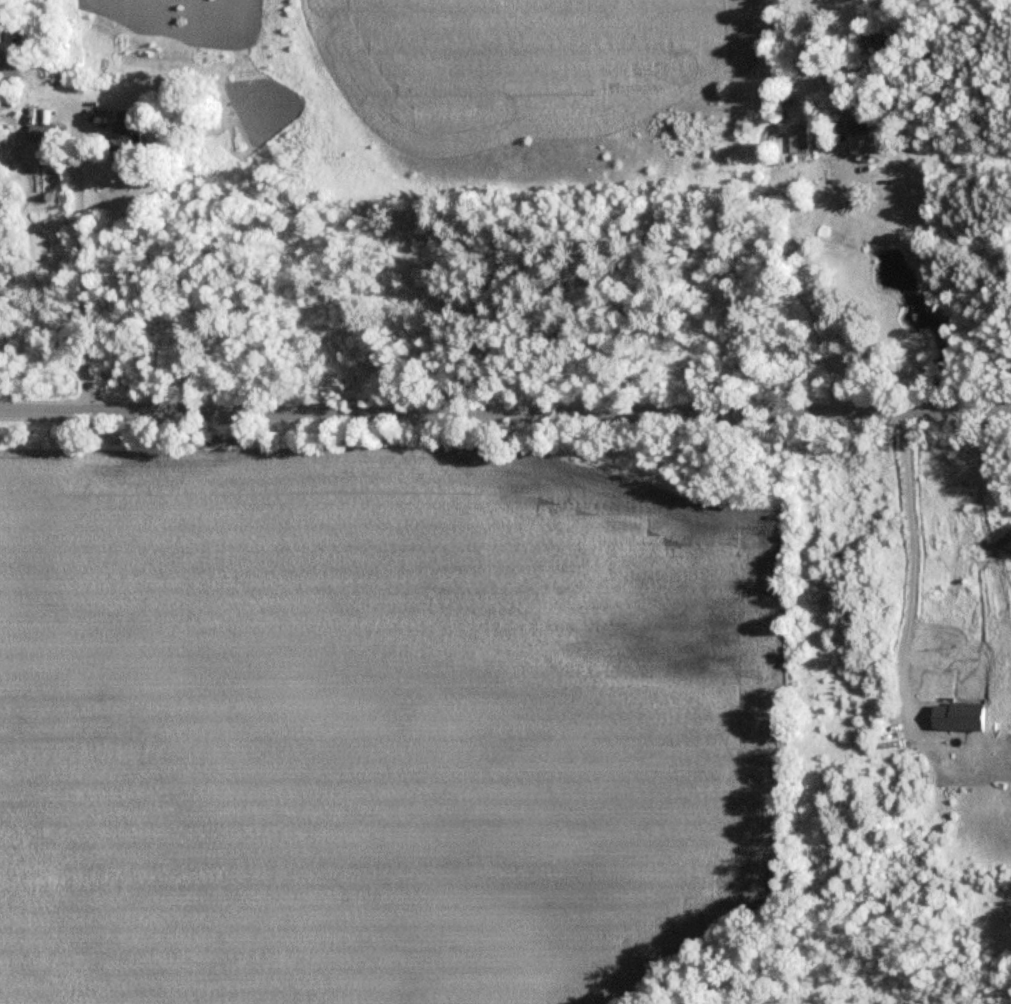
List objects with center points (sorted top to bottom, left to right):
building: (40, 133)
building: (799, 137)
road: (89, 254)
road: (804, 283)
road: (464, 406)
road: (970, 413)
road: (919, 567)

